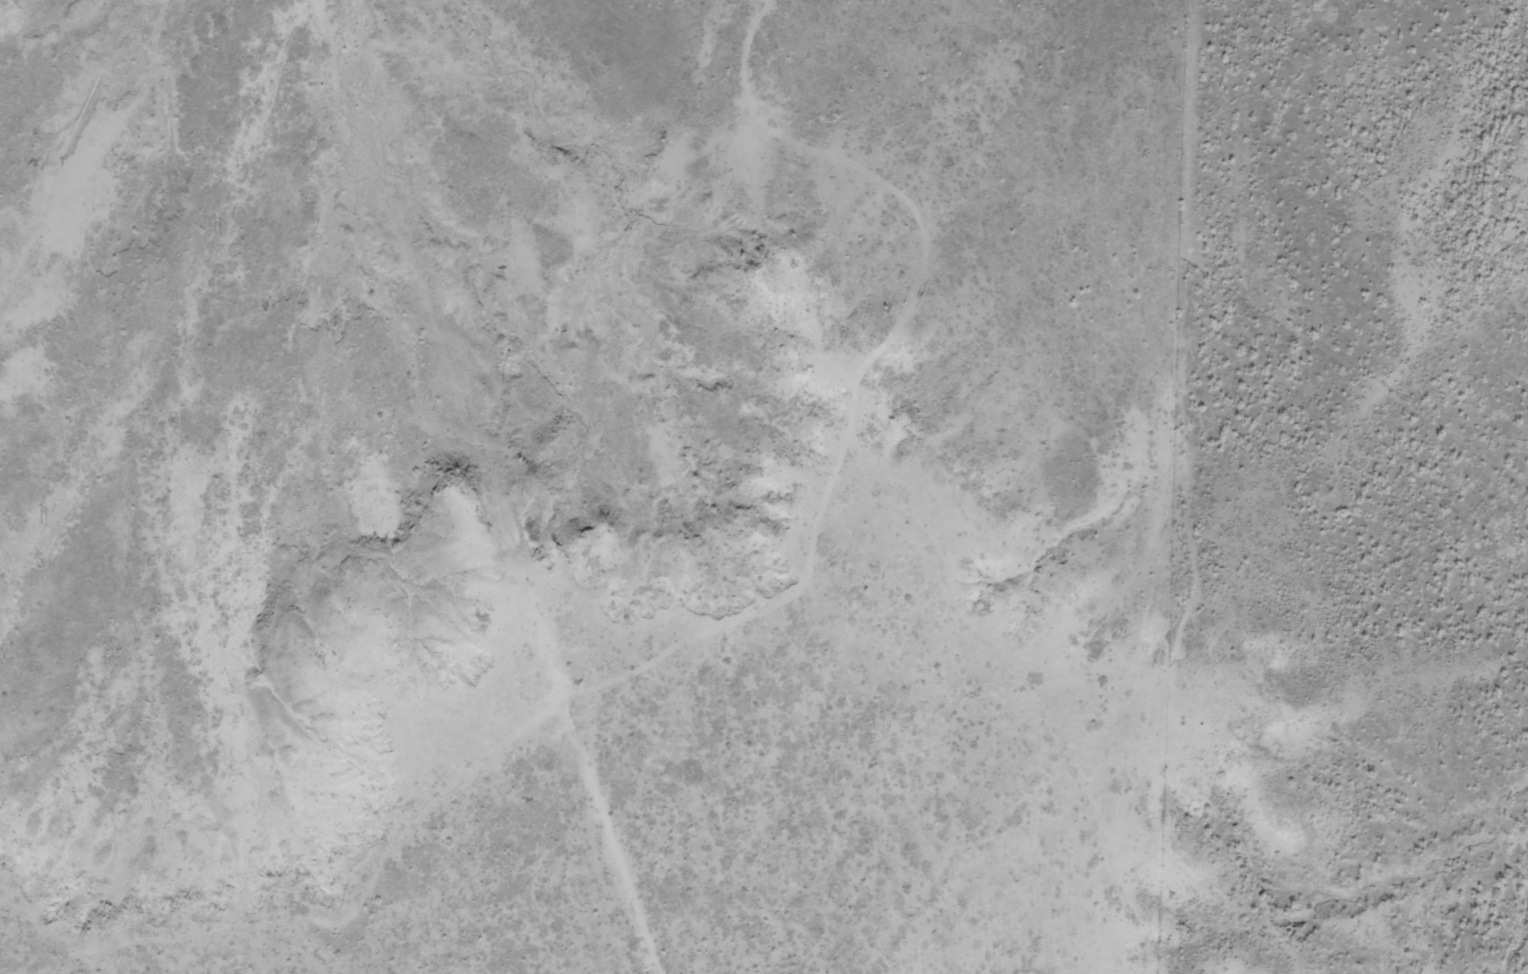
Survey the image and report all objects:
power tower: (214, 235)
power tower: (41, 524)
road: (88, 971)

